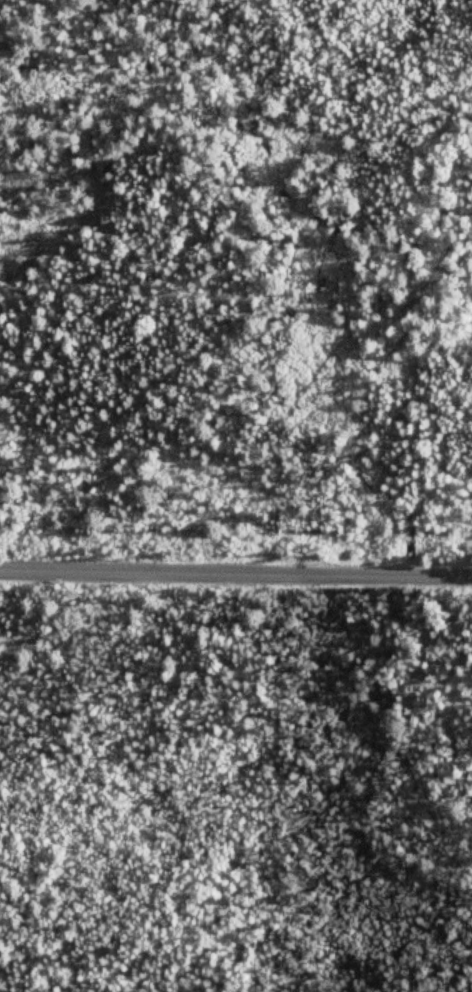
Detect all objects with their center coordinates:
road: (235, 570)

